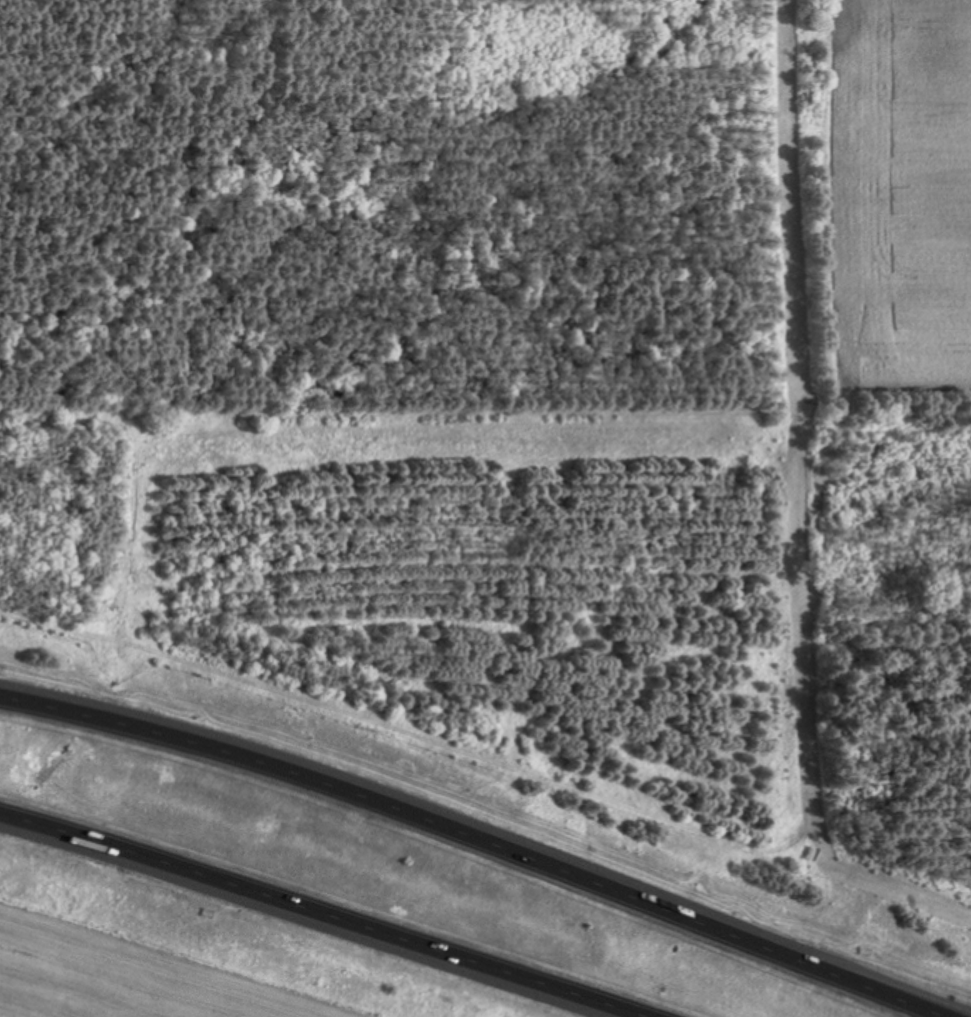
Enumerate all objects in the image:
road: (476, 837)
road: (323, 913)

